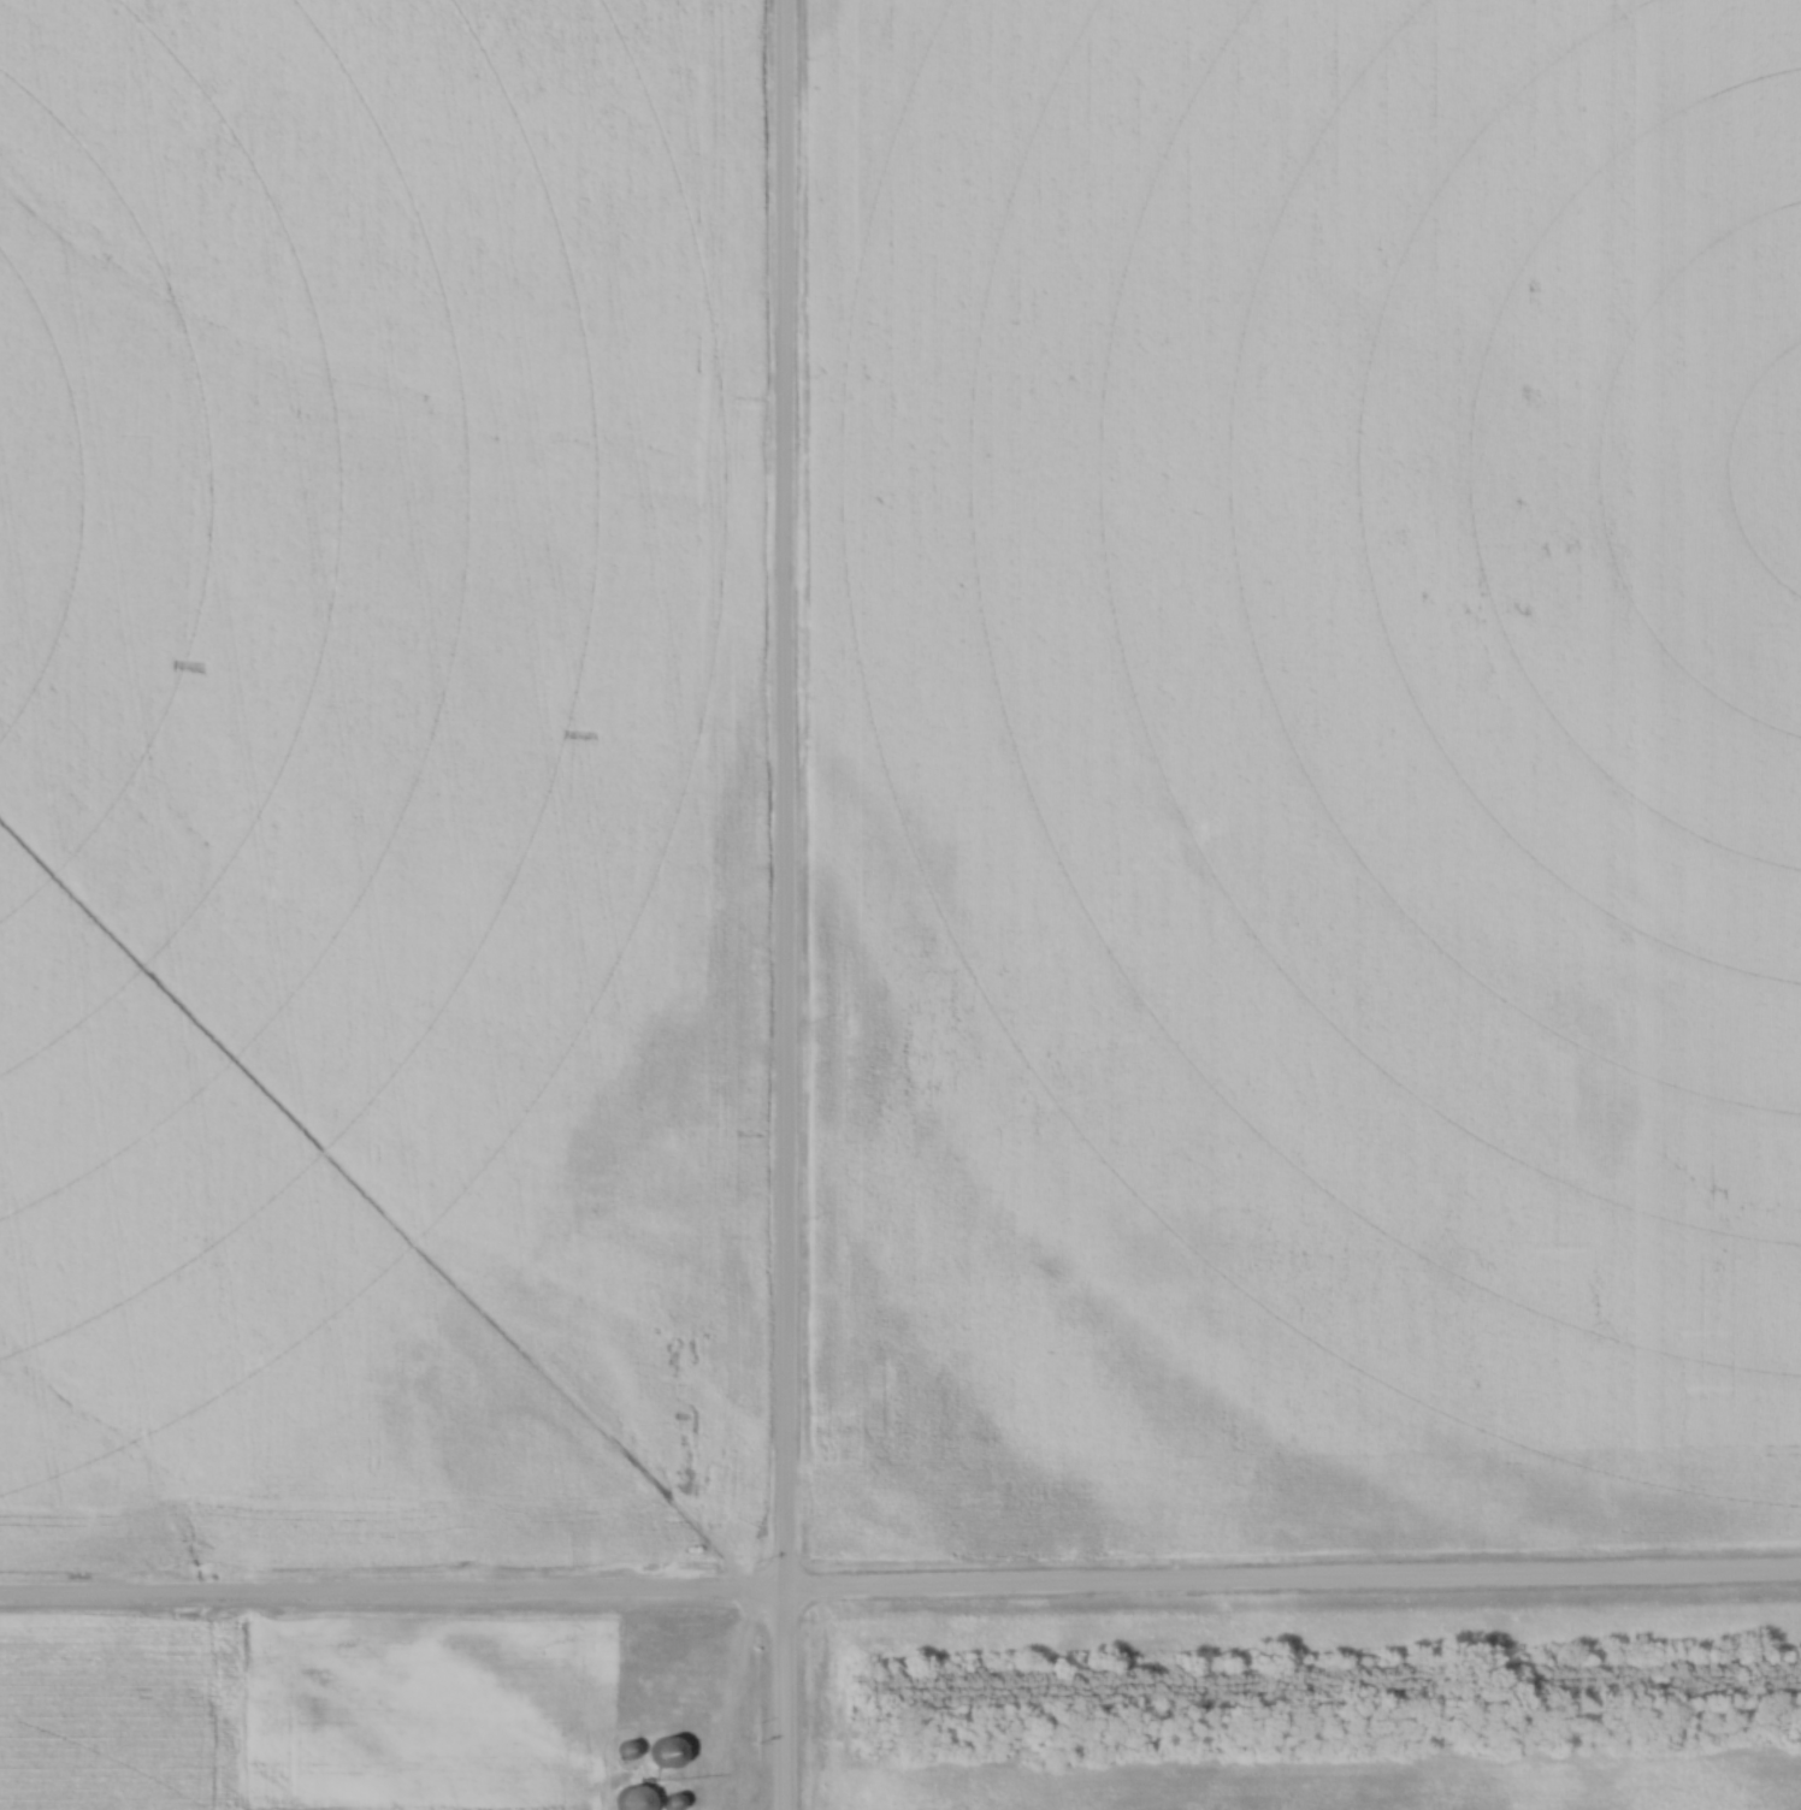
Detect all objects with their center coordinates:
road: (784, 905)
road: (900, 1597)
building: (621, 1751)
building: (660, 1753)
building: (628, 1800)
building: (667, 1802)

